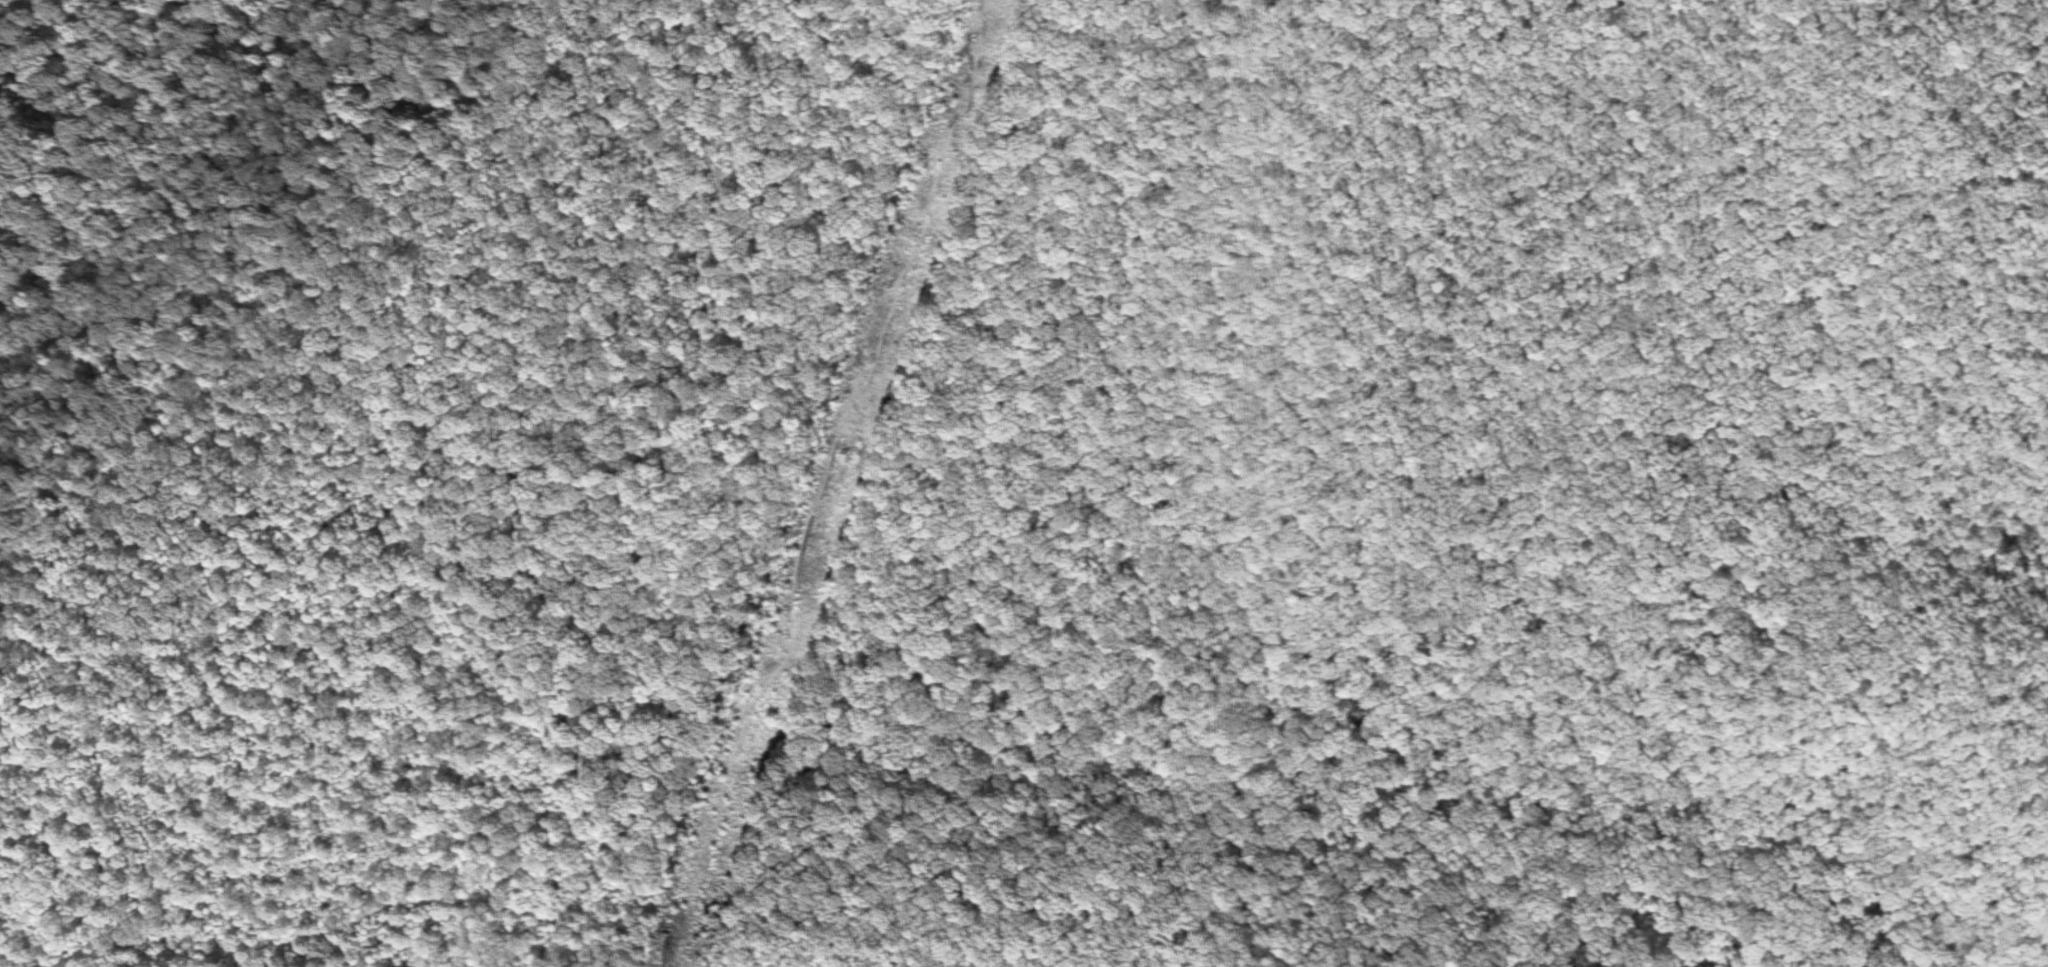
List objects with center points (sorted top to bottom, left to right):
road: (982, 719)

